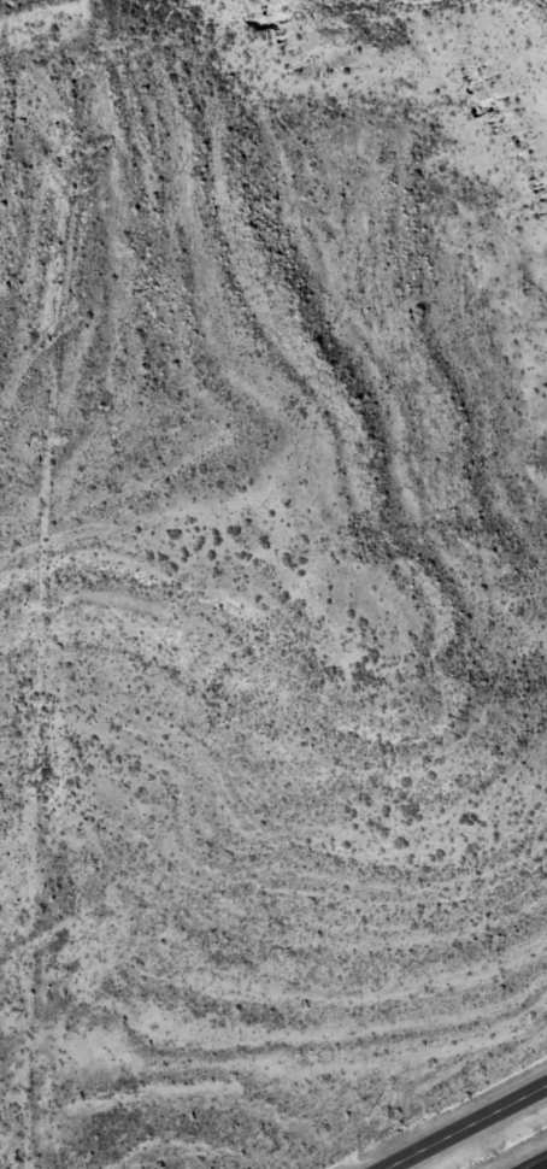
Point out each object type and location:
road: (466, 1127)

